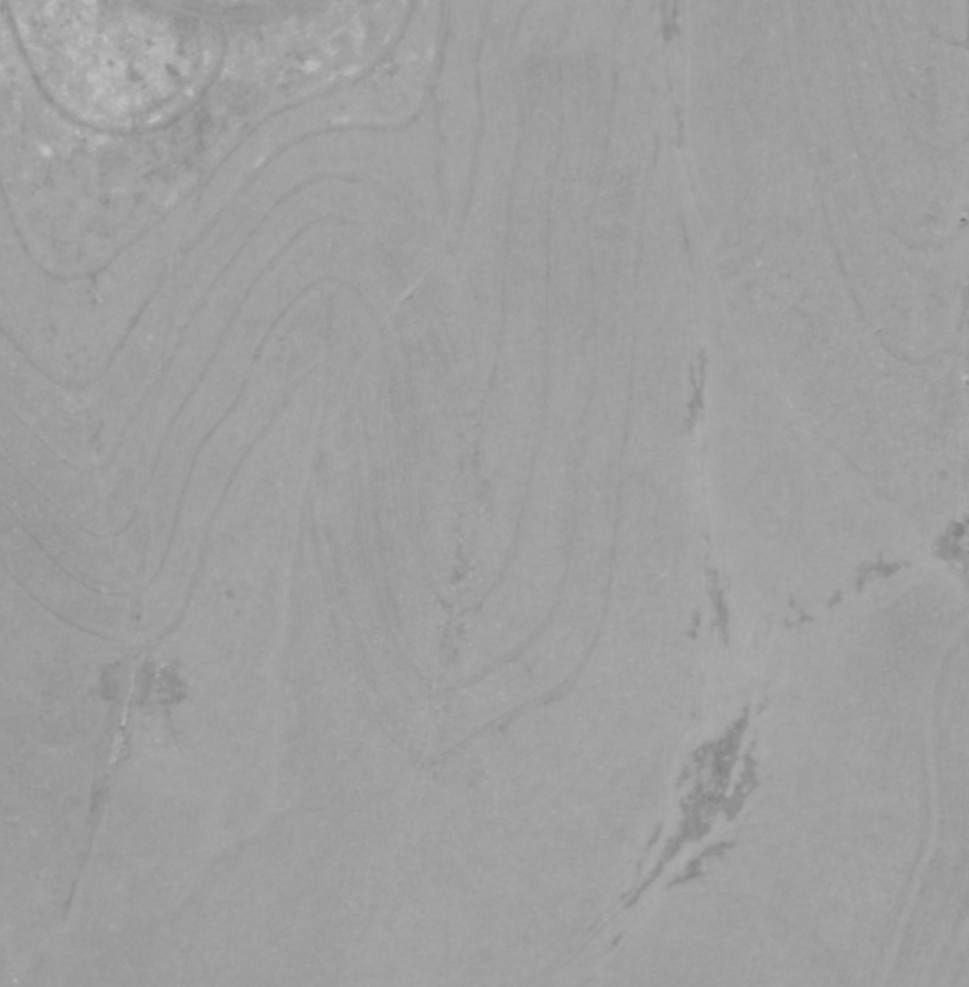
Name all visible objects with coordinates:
road: (244, 17)

